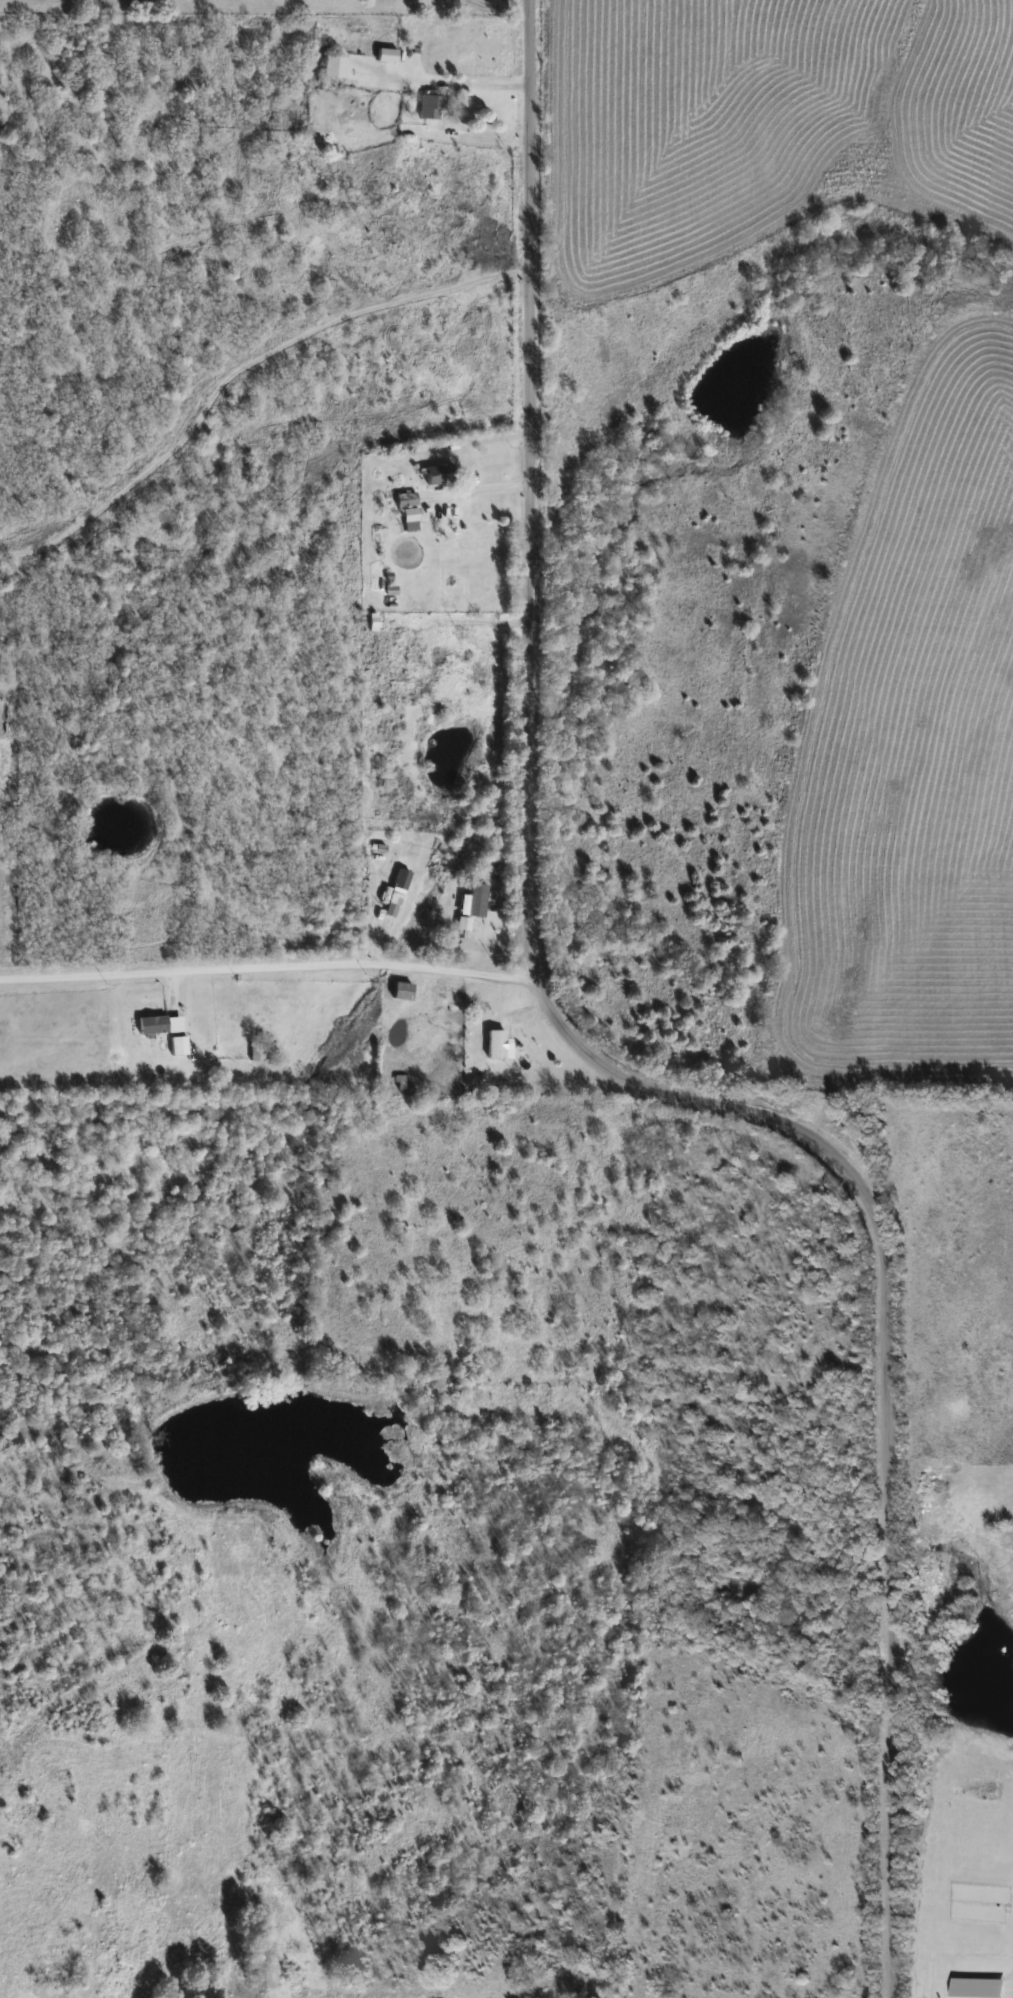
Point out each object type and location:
building: (384, 55)
building: (332, 66)
building: (430, 107)
road: (236, 366)
building: (435, 474)
building: (404, 498)
building: (406, 519)
building: (394, 659)
building: (388, 898)
building: (472, 901)
road: (268, 966)
building: (398, 991)
building: (157, 1025)
building: (493, 1045)
building: (175, 1046)
building: (254, 1055)
road: (608, 1070)

